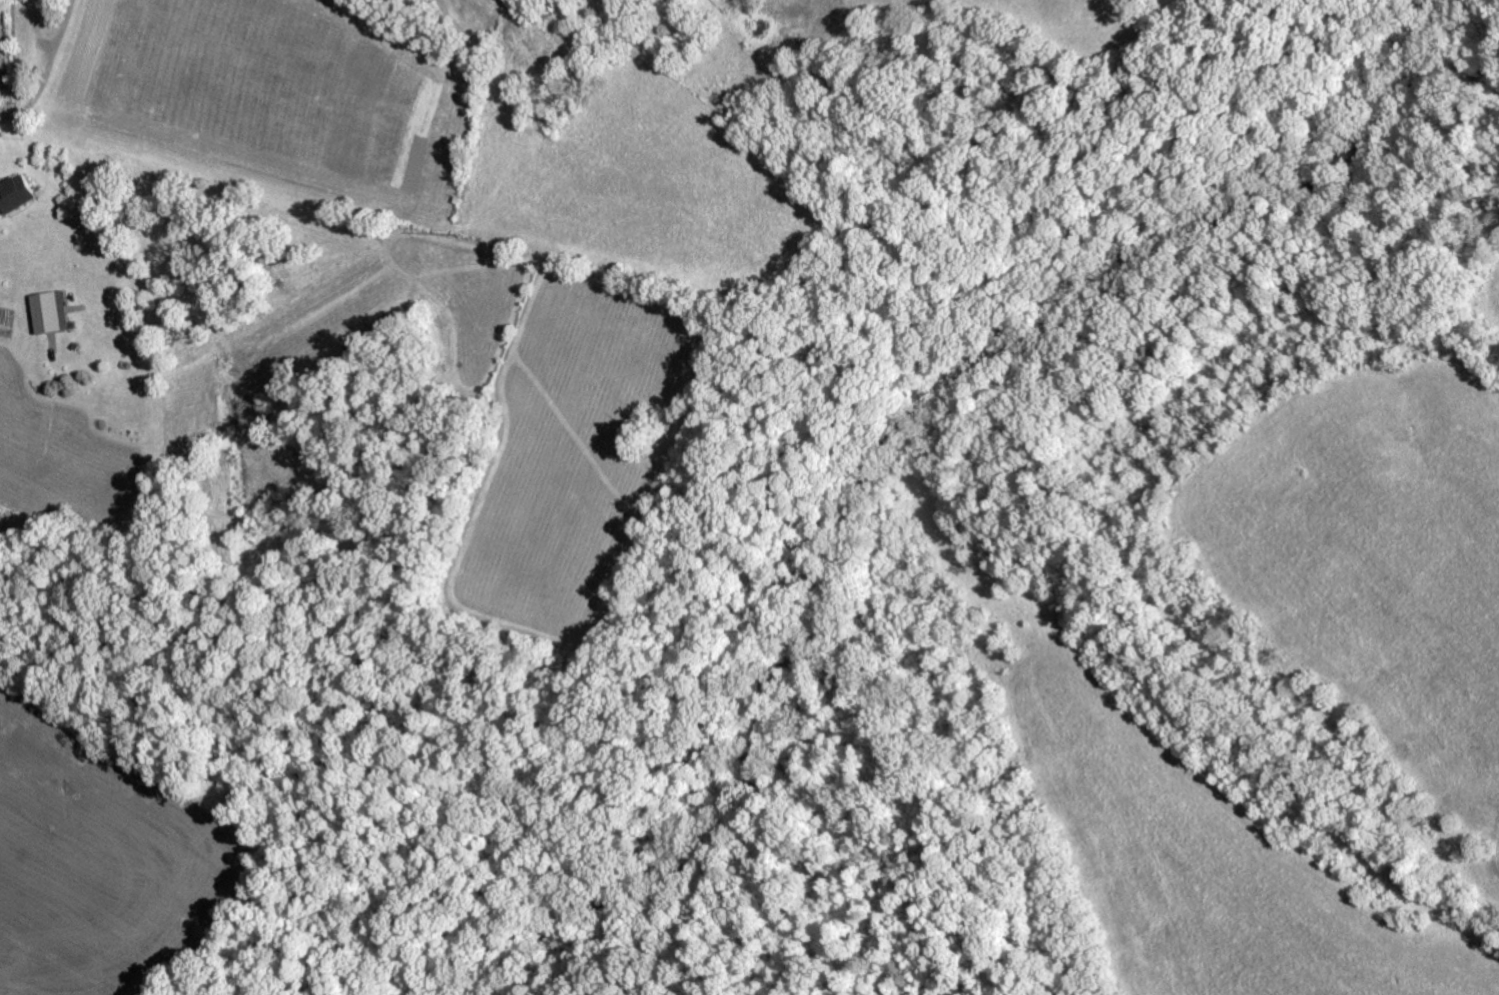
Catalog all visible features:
road: (33, 97)
building: (13, 192)
building: (45, 310)

